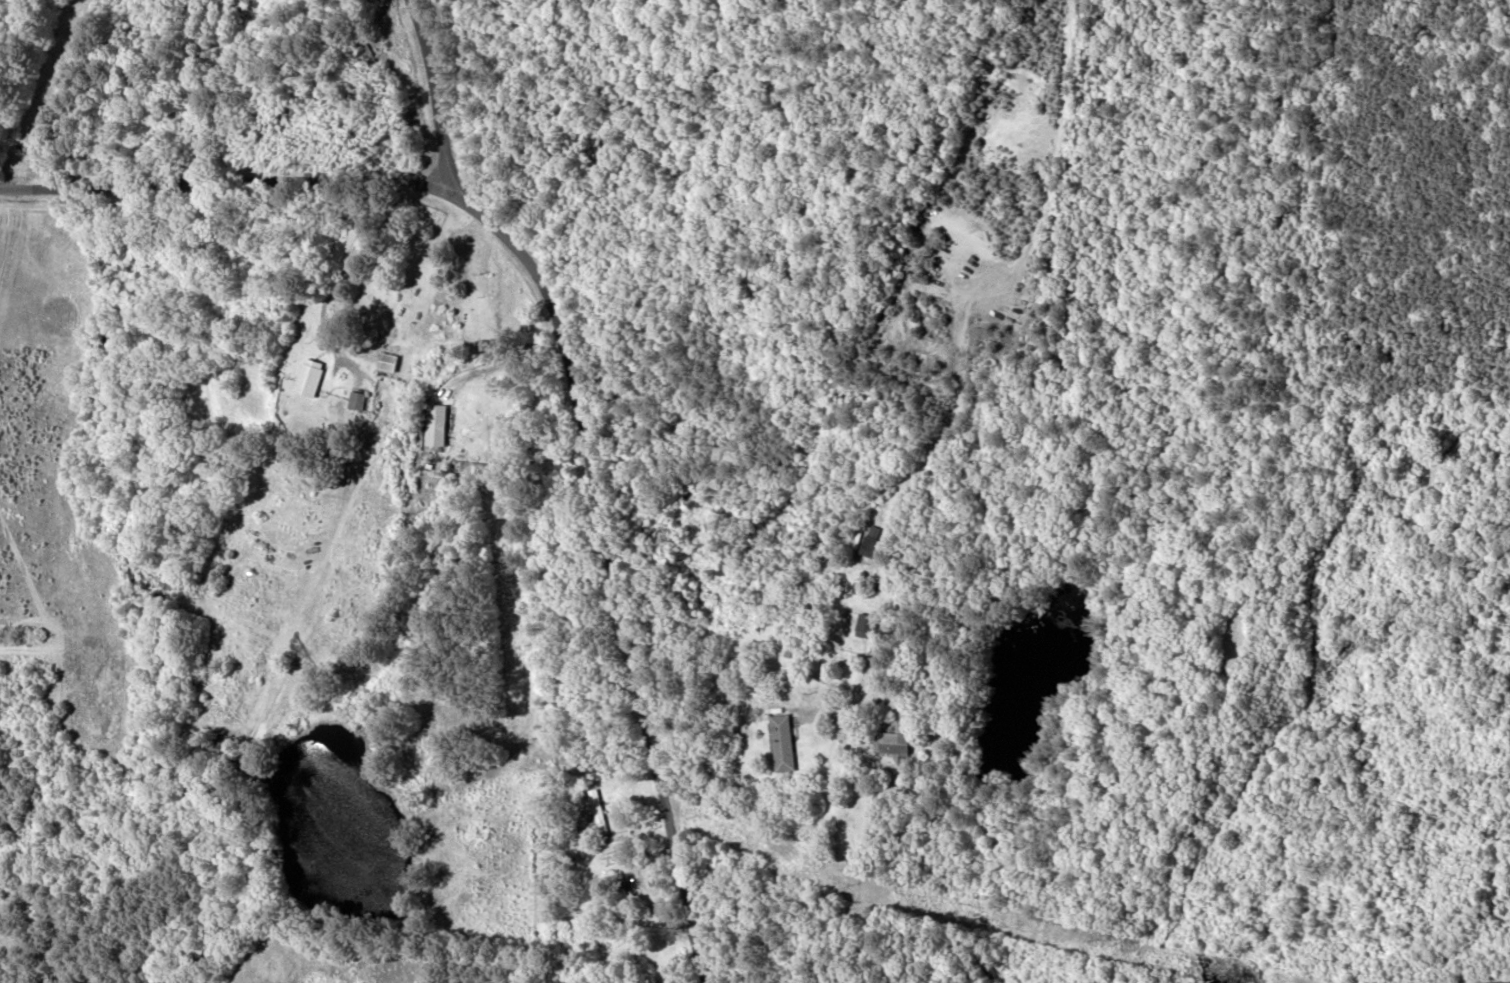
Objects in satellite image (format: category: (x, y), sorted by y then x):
building: (369, 55)
road: (223, 176)
building: (389, 363)
building: (310, 378)
building: (442, 426)
road: (604, 466)
road: (891, 514)
building: (868, 545)
building: (868, 625)
building: (789, 644)
building: (217, 740)
building: (897, 740)
building: (784, 743)
building: (598, 812)
road: (1497, 981)

